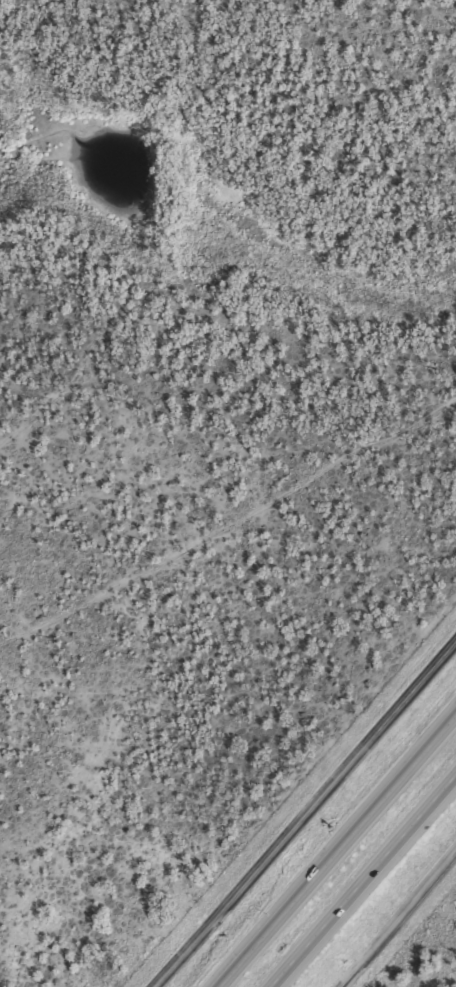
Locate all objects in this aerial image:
road: (303, 811)
road: (334, 848)
road: (362, 880)
road: (397, 918)

